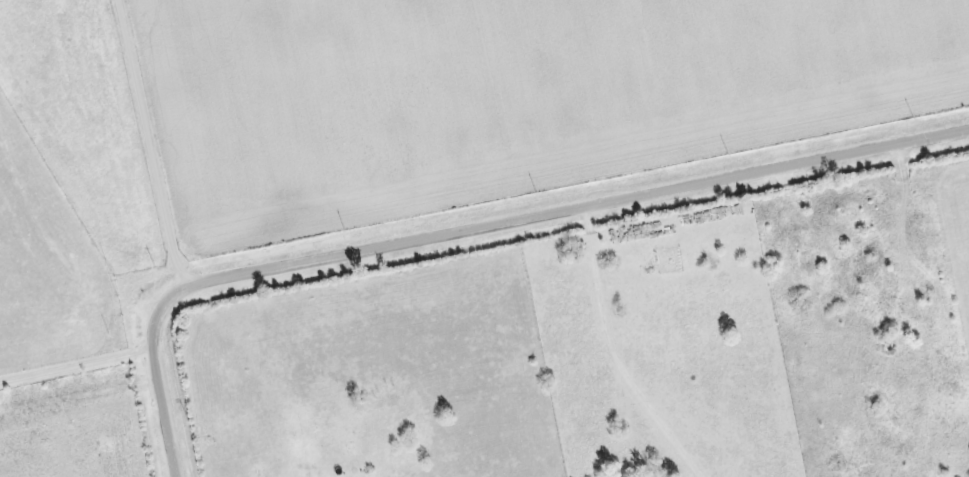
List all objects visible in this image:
road: (146, 147)
road: (479, 231)
road: (74, 373)

